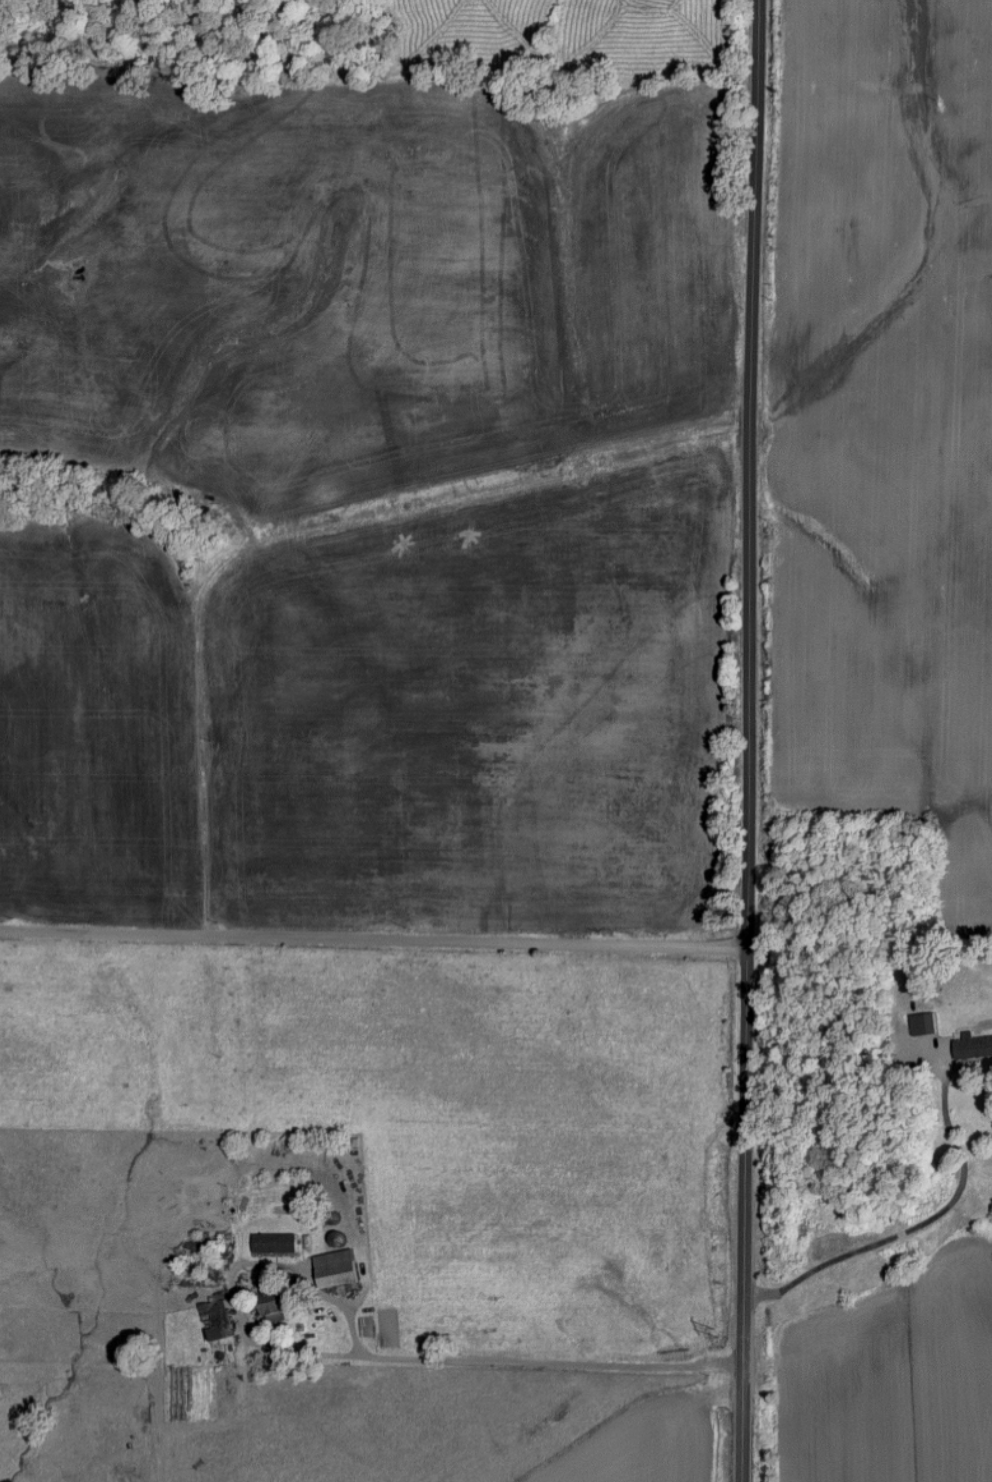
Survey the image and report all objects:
road: (748, 740)
road: (373, 941)
building: (926, 1024)
building: (974, 1048)
road: (920, 1225)
building: (278, 1243)
building: (340, 1269)
building: (277, 1307)
building: (219, 1320)
road: (366, 1358)

